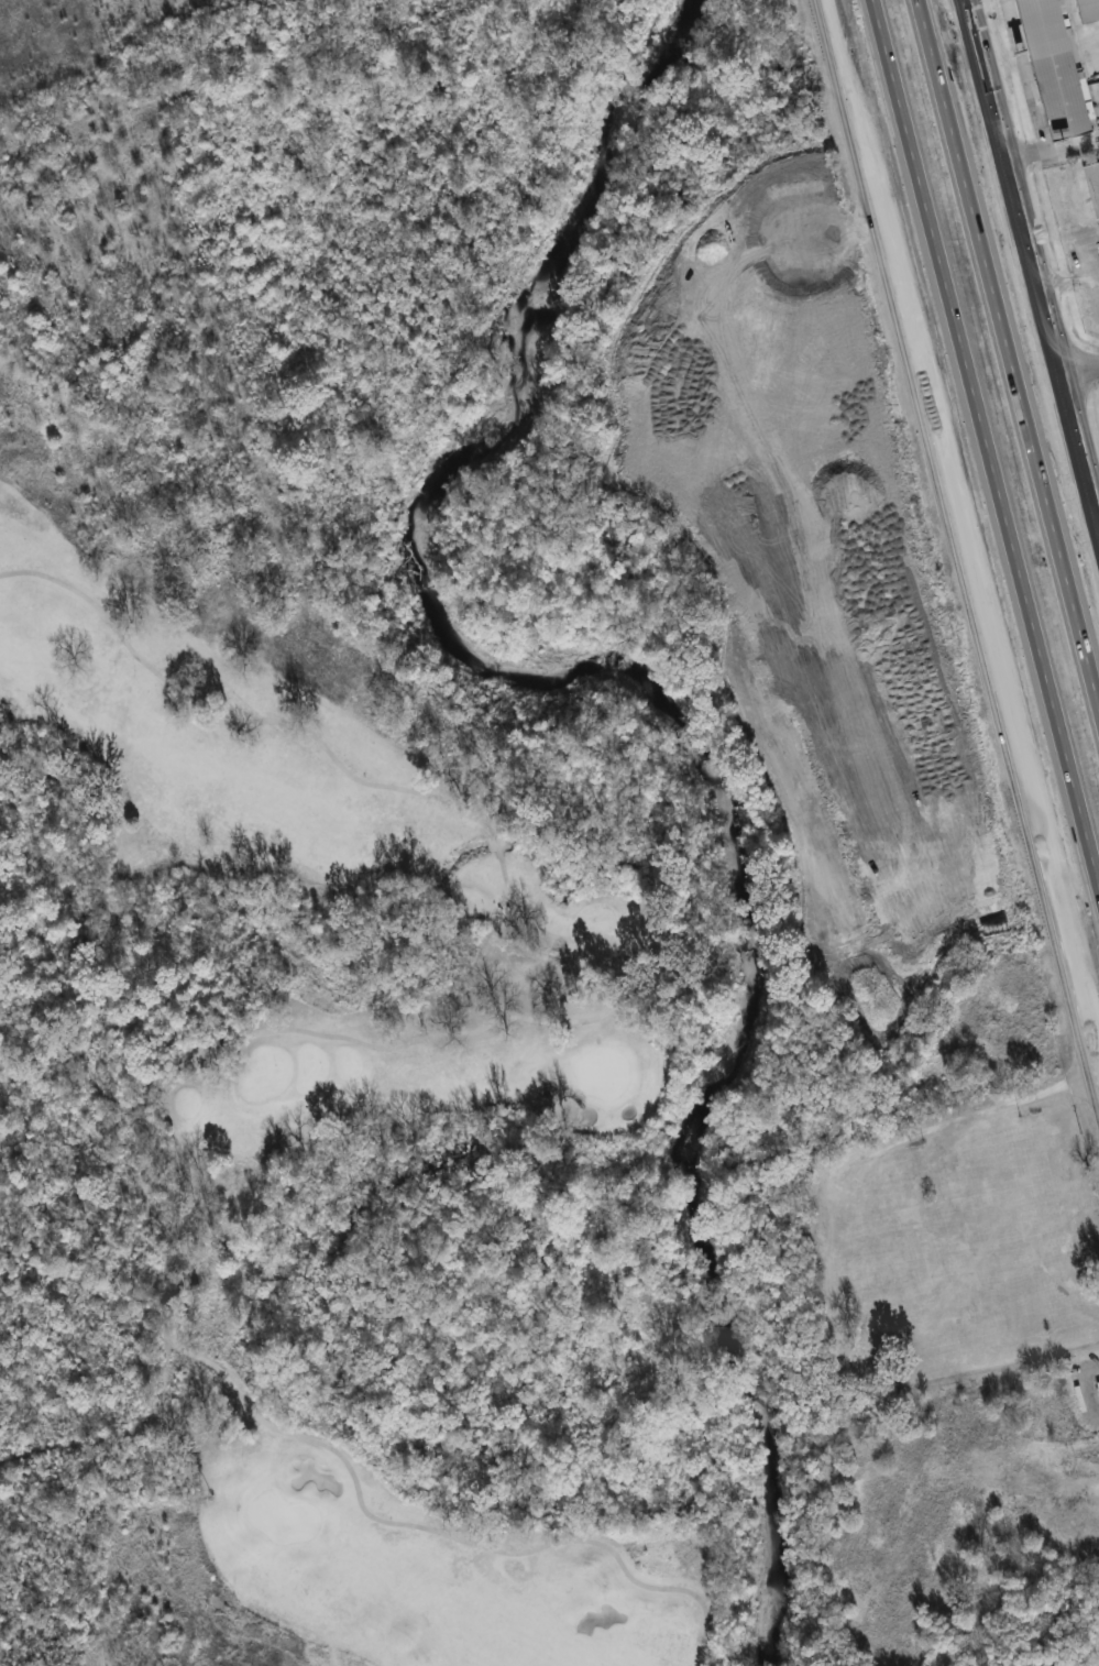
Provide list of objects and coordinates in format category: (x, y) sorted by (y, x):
building: (1087, 11)
building: (1053, 69)
road: (1024, 74)
road: (1056, 149)
building: (1091, 185)
road: (1036, 244)
road: (1027, 277)
road: (1084, 369)
road: (959, 503)
road: (957, 552)
road: (414, 791)
road: (212, 1366)
building: (1097, 1384)
road: (1087, 1385)

